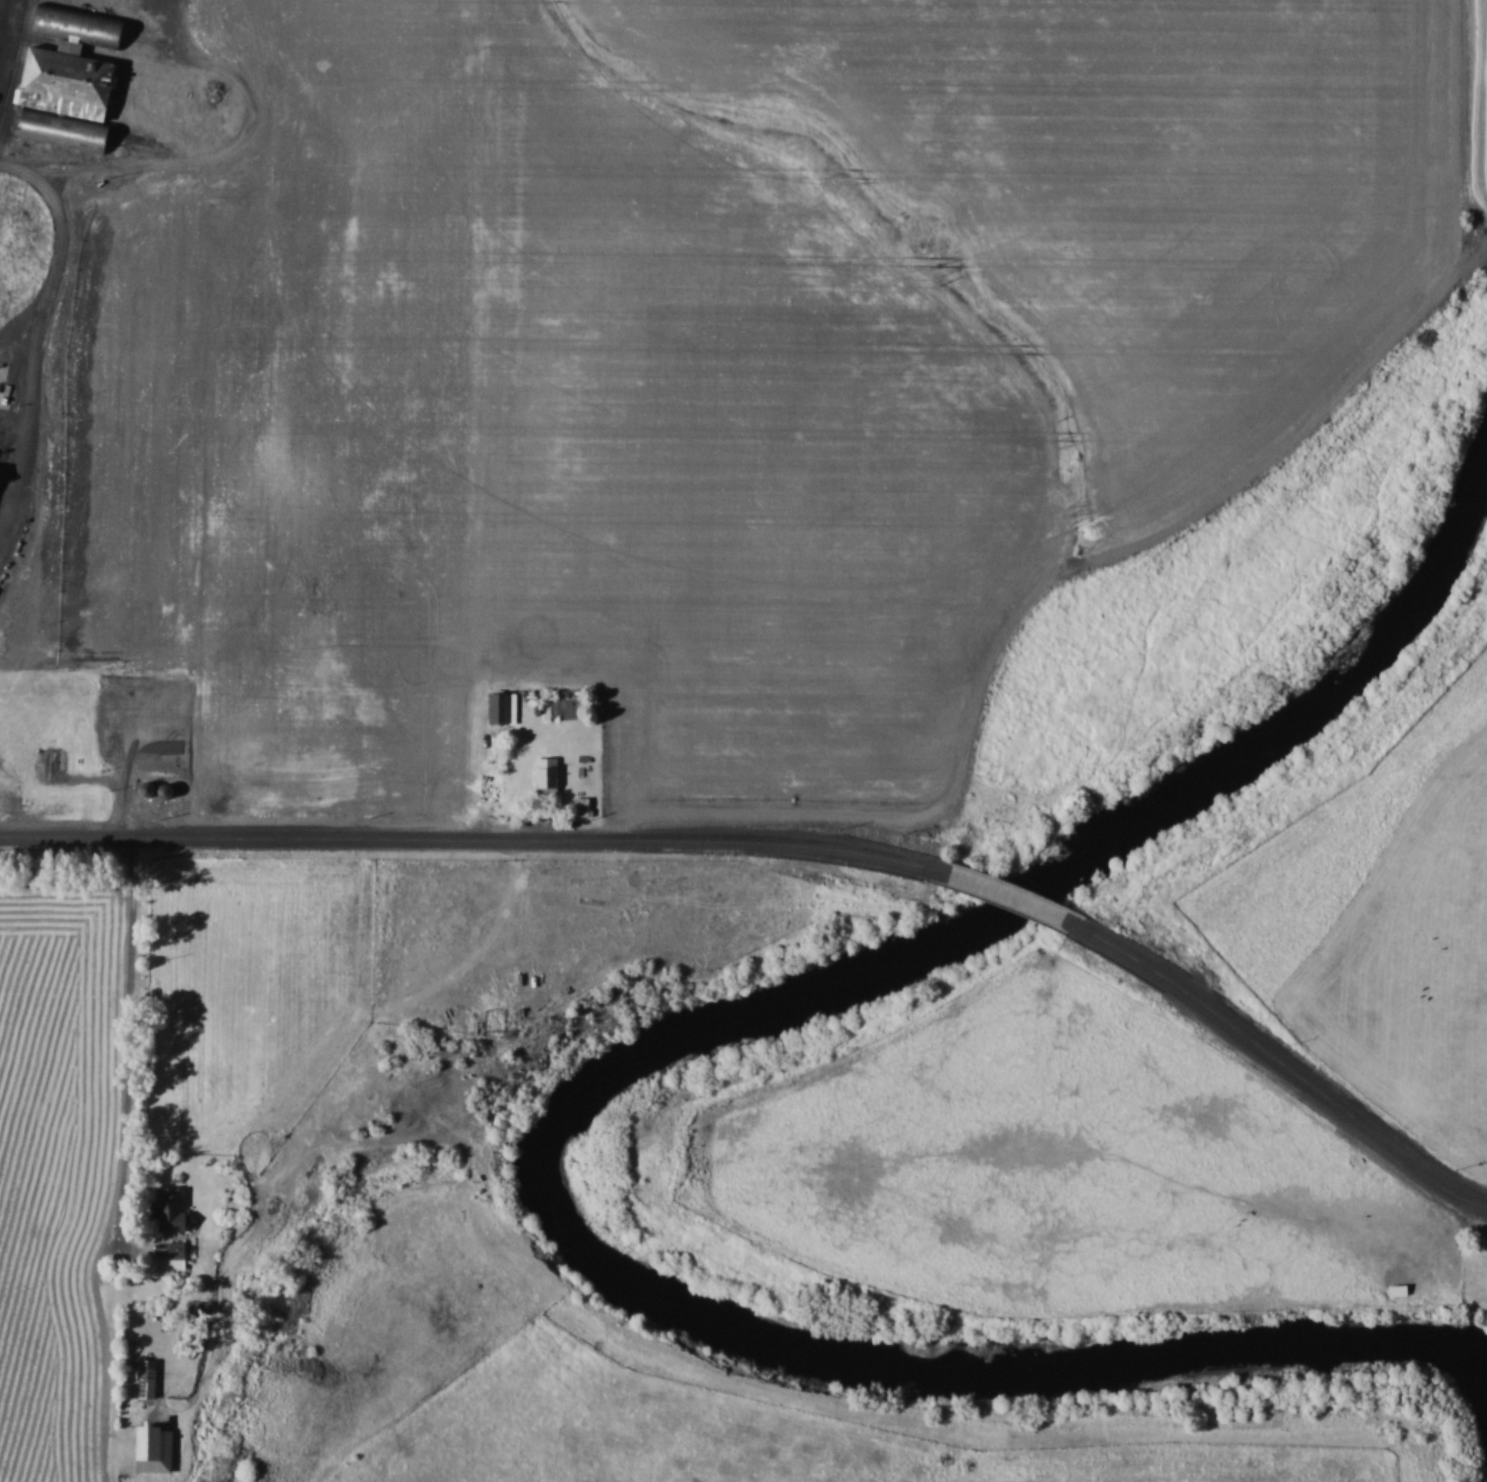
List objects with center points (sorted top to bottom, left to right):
railway: (0, 0)
building: (83, 24)
railway: (14, 60)
building: (118, 89)
crop: (1475, 134)
crop: (1136, 187)
road: (53, 340)
crop: (292, 420)
crop: (746, 446)
building: (1, 456)
building: (0, 473)
building: (501, 708)
building: (145, 712)
building: (156, 746)
building: (58, 761)
building: (544, 775)
building: (579, 807)
road: (477, 840)
road: (1015, 898)
crop: (570, 932)
crop: (249, 991)
road: (1278, 1068)
river: (596, 1096)
crop: (1063, 1162)
crop: (60, 1182)
building: (176, 1210)
building: (179, 1254)
building: (1393, 1289)
building: (151, 1378)
building: (160, 1446)

